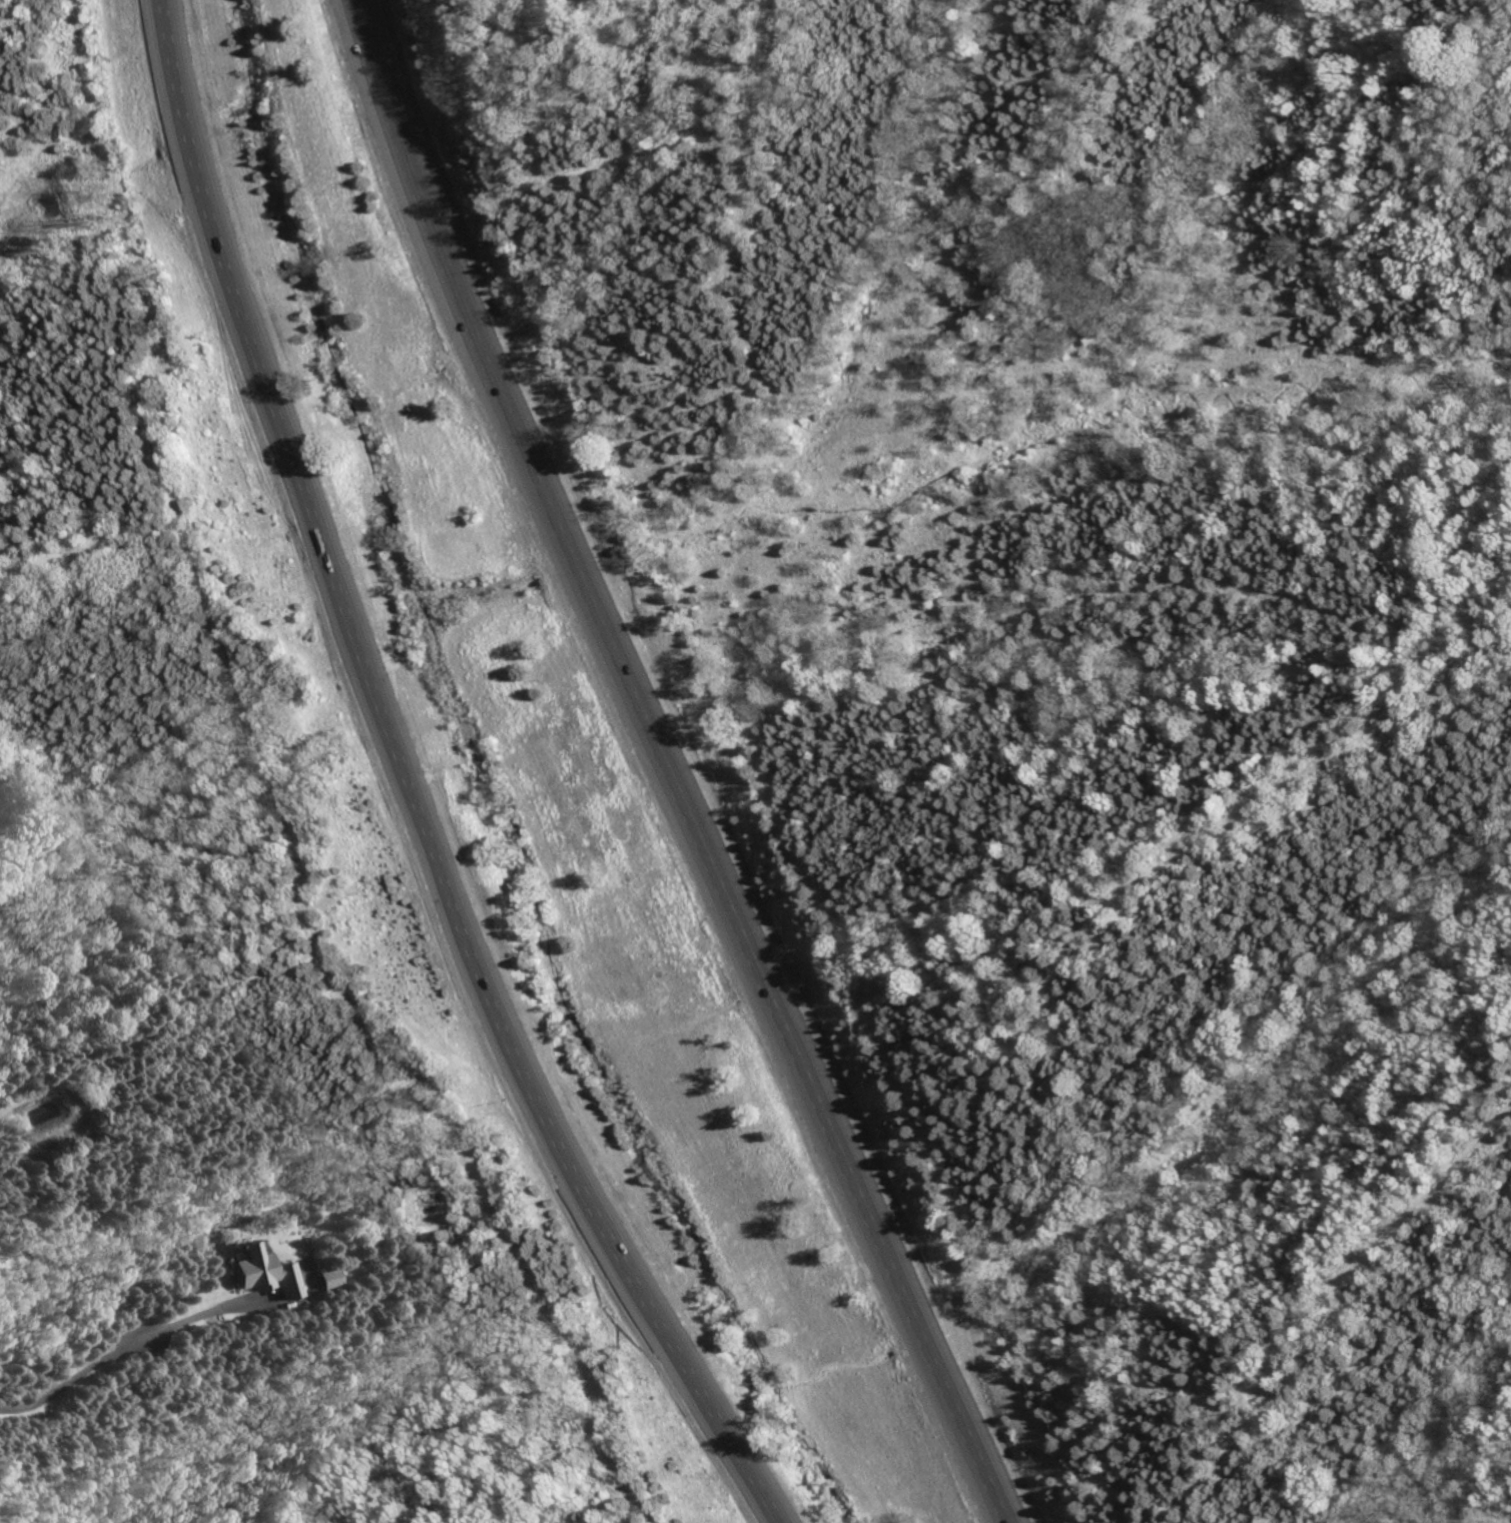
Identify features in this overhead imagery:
road: (672, 766)
road: (404, 787)
building: (253, 1272)
building: (319, 1278)
road: (112, 1349)

